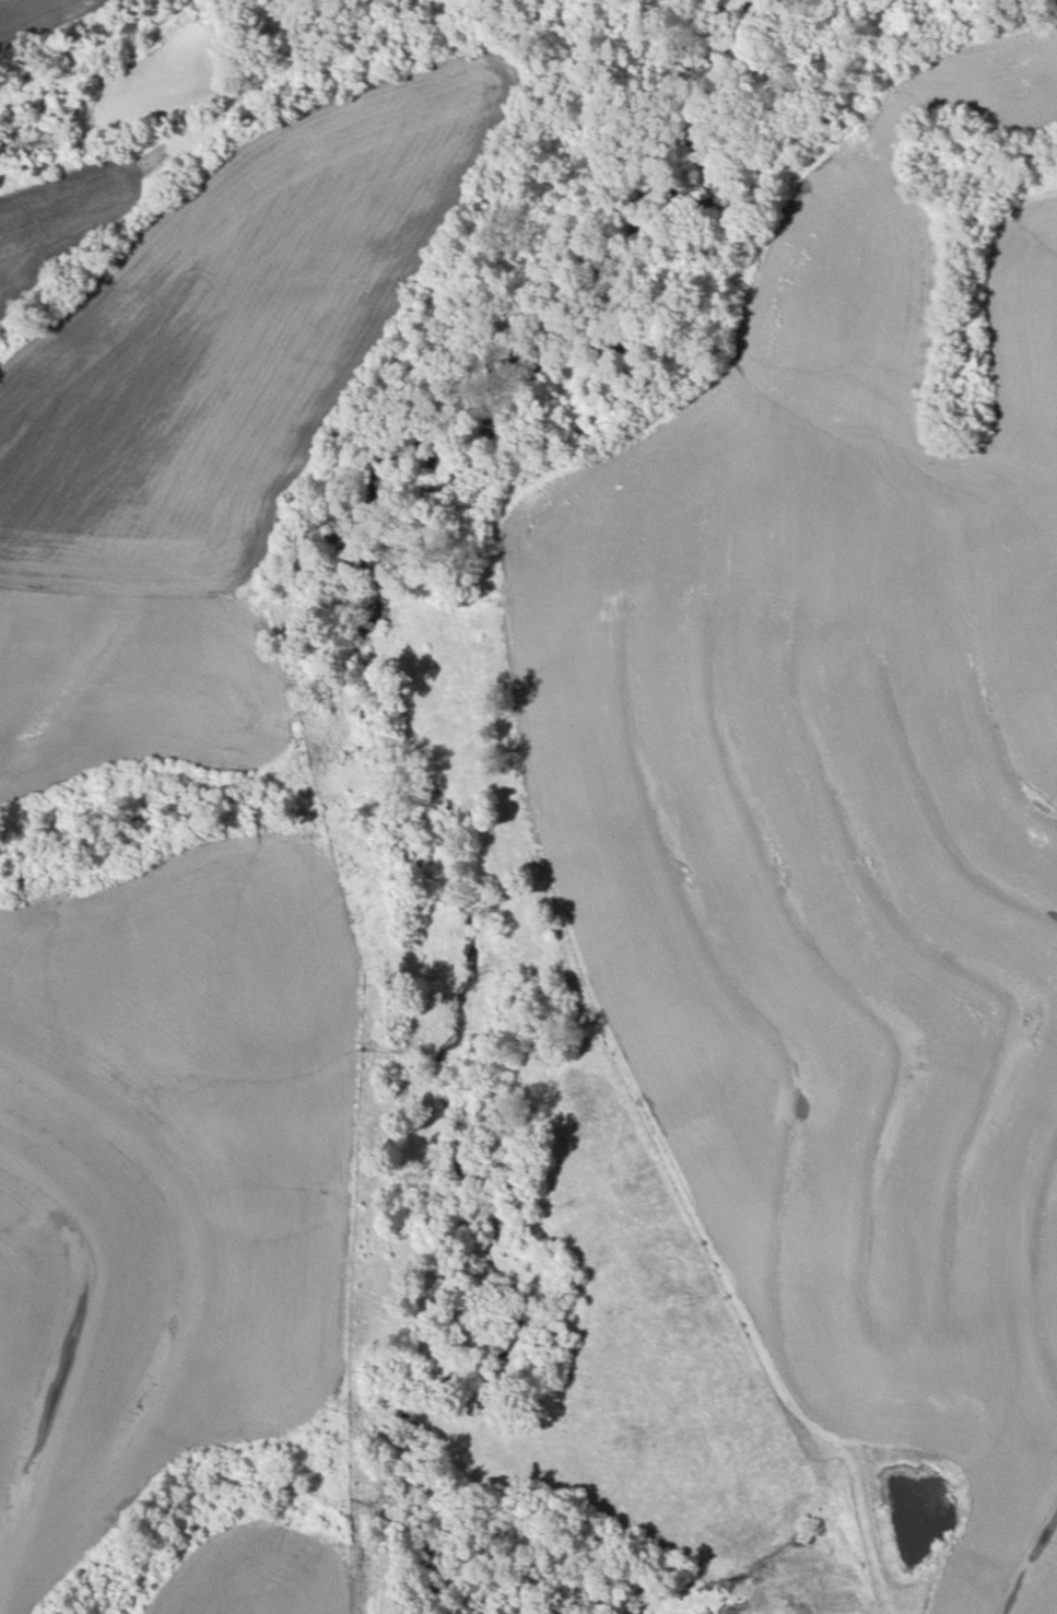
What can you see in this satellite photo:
crop: (48, 16)
crop: (84, 217)
crop: (223, 352)
crop: (831, 416)
crop: (134, 689)
crop: (830, 1014)
crop: (172, 1172)
crop: (270, 1571)

